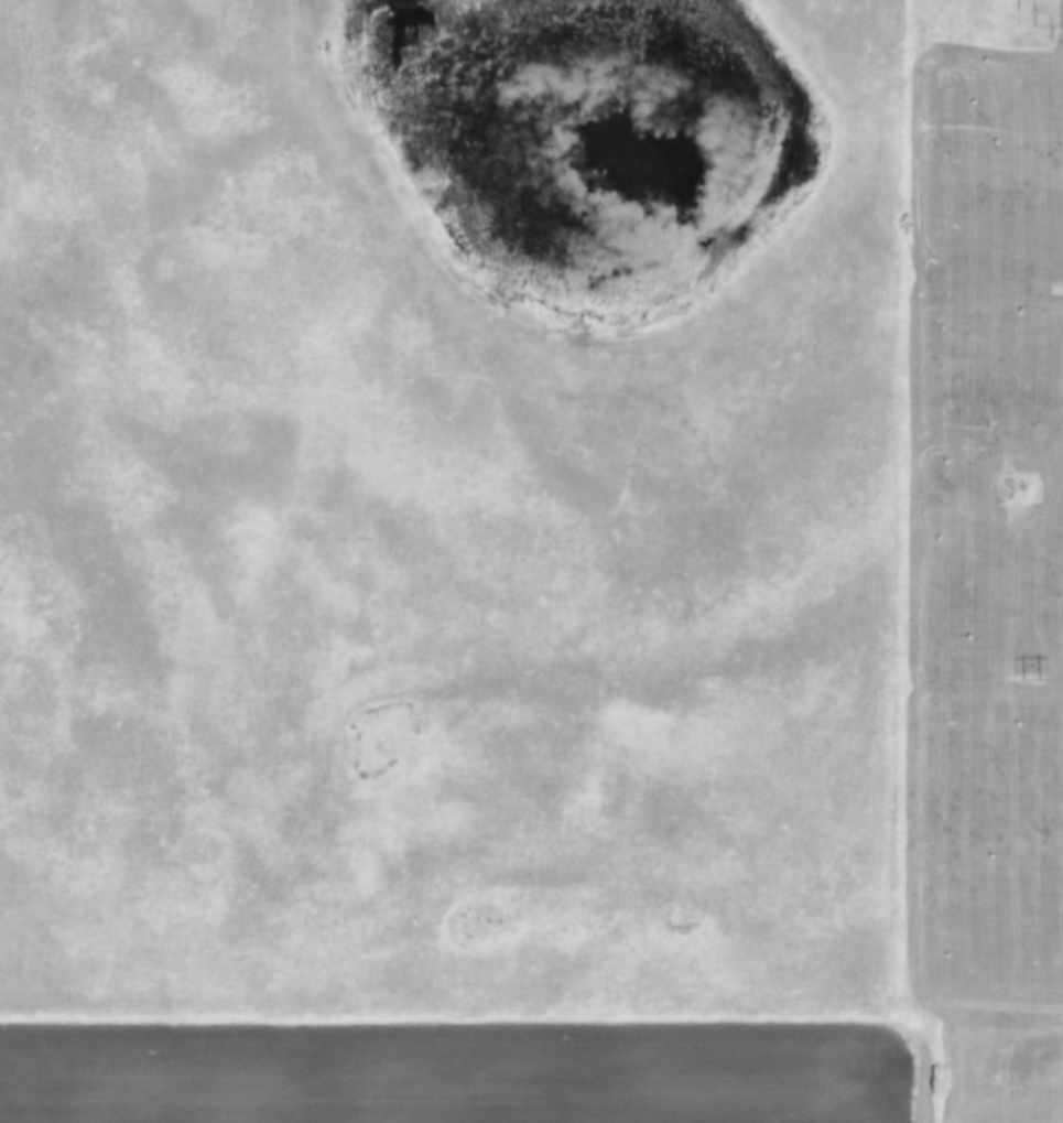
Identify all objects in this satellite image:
power tower: (1034, 31)
power tower: (1030, 683)

